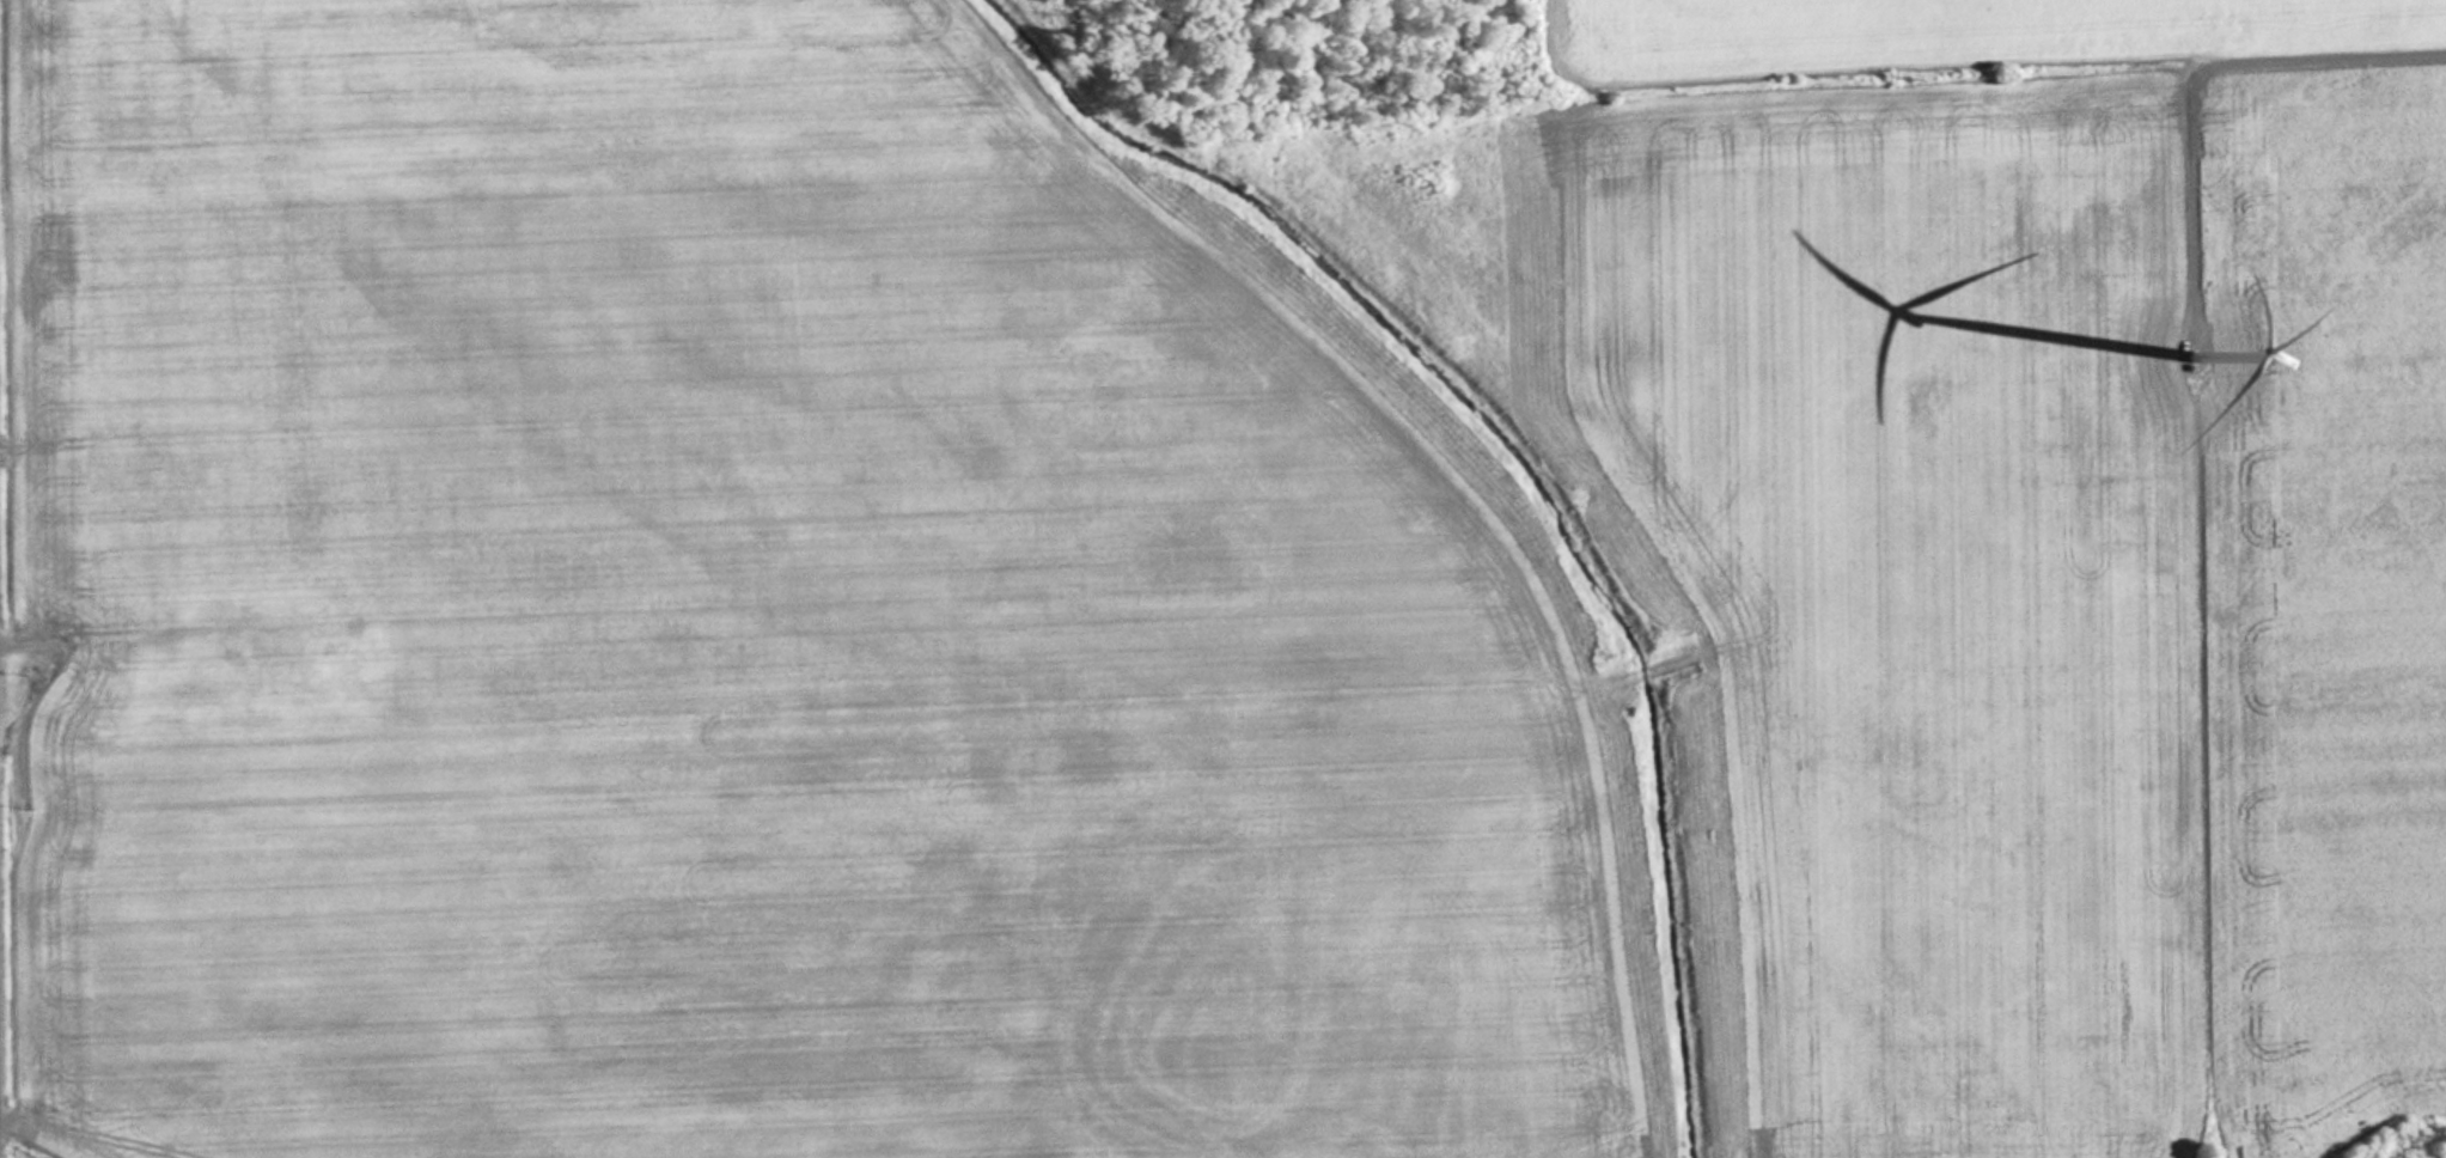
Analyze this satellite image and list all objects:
road: (2233, 62)
wind turbine: (2196, 343)

